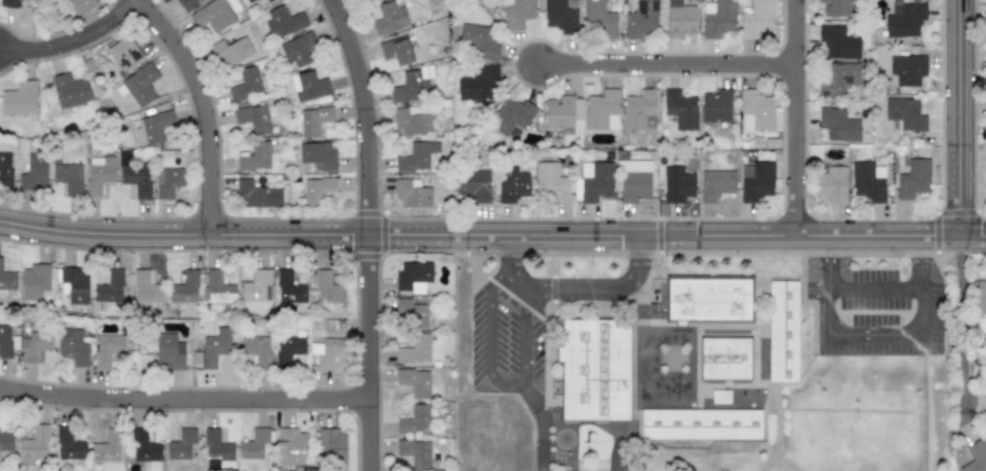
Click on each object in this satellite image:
building: (268, 0)
building: (249, 1)
building: (9, 3)
building: (186, 4)
building: (80, 5)
building: (836, 8)
building: (517, 12)
building: (558, 14)
building: (212, 15)
building: (389, 18)
building: (718, 18)
building: (598, 19)
building: (680, 19)
building: (757, 19)
building: (903, 19)
building: (641, 20)
building: (283, 22)
road: (72, 38)
building: (479, 41)
building: (838, 42)
building: (298, 49)
building: (396, 50)
building: (231, 51)
building: (125, 53)
road: (663, 61)
building: (907, 69)
building: (836, 78)
building: (246, 84)
building: (477, 84)
building: (138, 85)
building: (309, 86)
building: (410, 88)
building: (70, 91)
building: (20, 100)
building: (716, 105)
road: (203, 107)
building: (577, 109)
building: (638, 109)
building: (680, 109)
building: (602, 110)
building: (758, 112)
building: (559, 113)
building: (904, 113)
road: (793, 116)
building: (252, 117)
building: (511, 117)
road: (958, 117)
building: (412, 120)
building: (313, 121)
building: (838, 124)
building: (153, 127)
building: (318, 155)
building: (255, 157)
building: (416, 157)
building: (5, 169)
building: (33, 172)
building: (99, 174)
building: (68, 177)
building: (913, 179)
building: (634, 180)
building: (168, 181)
building: (755, 181)
building: (868, 181)
building: (985, 181)
building: (551, 182)
building: (594, 183)
building: (830, 183)
building: (511, 184)
building: (677, 184)
building: (715, 184)
building: (473, 185)
building: (317, 189)
building: (411, 193)
building: (256, 195)
road: (368, 232)
road: (492, 233)
road: (512, 260)
building: (412, 276)
building: (7, 279)
building: (34, 282)
building: (75, 284)
building: (109, 287)
building: (256, 287)
building: (146, 288)
building: (185, 288)
building: (217, 288)
building: (328, 288)
building: (289, 289)
road: (601, 289)
road: (873, 289)
building: (980, 299)
building: (708, 300)
building: (411, 312)
road: (960, 329)
building: (782, 331)
road: (874, 334)
building: (34, 345)
building: (73, 346)
building: (215, 347)
building: (256, 348)
building: (289, 348)
building: (107, 349)
building: (414, 349)
building: (169, 351)
building: (326, 351)
building: (725, 358)
building: (594, 369)
building: (981, 371)
road: (499, 380)
building: (415, 382)
road: (185, 402)
building: (414, 420)
building: (700, 424)
building: (6, 441)
building: (181, 444)
building: (33, 445)
building: (69, 445)
building: (255, 445)
building: (330, 445)
building: (290, 446)
building: (144, 447)
building: (106, 448)
building: (217, 448)
building: (415, 453)
building: (975, 457)

